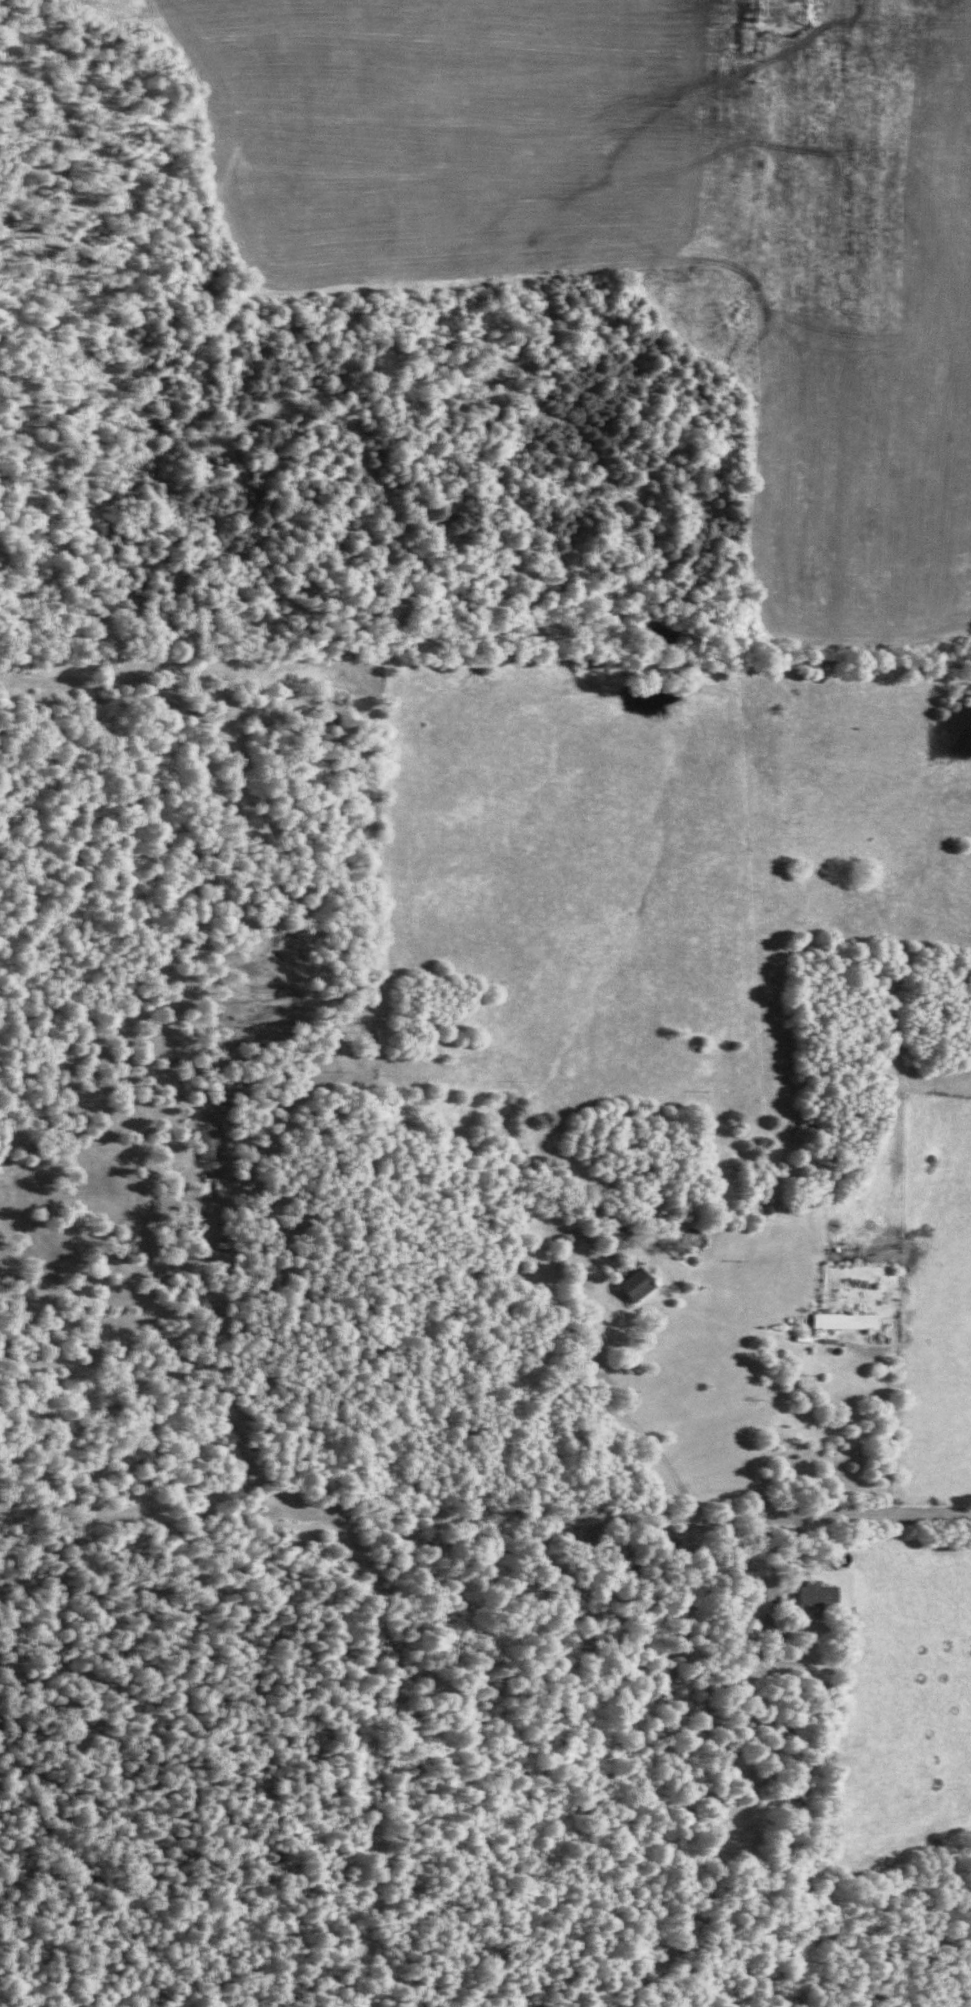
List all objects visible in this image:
building: (204, 1149)
building: (612, 1266)
building: (627, 1289)
building: (838, 1325)
road: (886, 1513)
building: (812, 1599)
building: (749, 1622)

